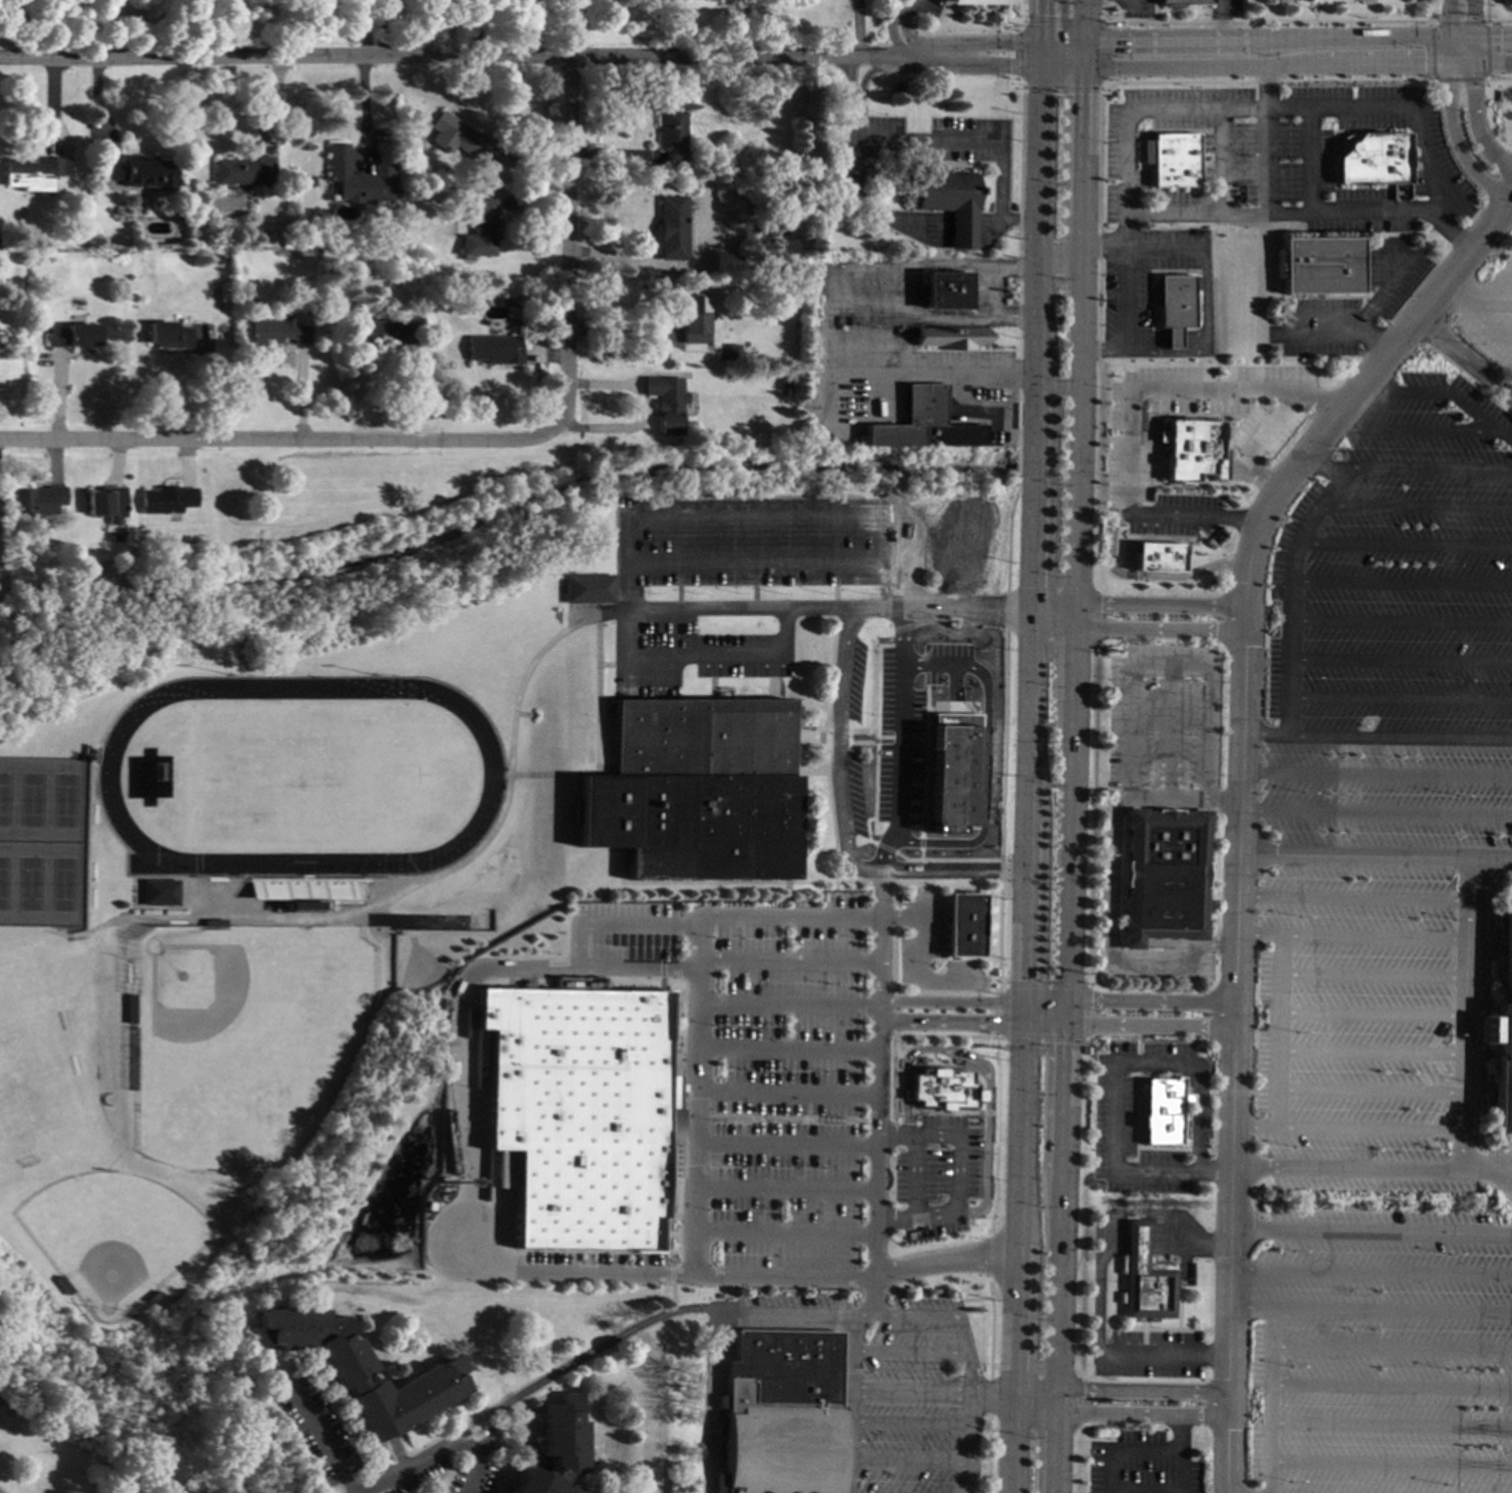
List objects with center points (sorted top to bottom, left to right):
building: (1317, 0)
building: (975, 2)
building: (1183, 2)
parking lot: (928, 8)
road: (1450, 20)
road: (1039, 21)
road: (1083, 21)
road: (1221, 21)
road: (121, 23)
road: (896, 26)
road: (231, 27)
road: (364, 27)
road: (481, 27)
road: (1469, 30)
road: (1266, 41)
traffic signals: (1450, 41)
road: (1480, 41)
traffic signals: (1039, 42)
road: (1061, 42)
traffic signals: (1469, 42)
road: (990, 43)
traffic signals: (1083, 43)
road: (1449, 51)
road: (1039, 54)
road: (471, 55)
road: (1082, 55)
road: (1459, 61)
traffic signals: (1469, 61)
road: (1490, 61)
traffic signals: (1449, 62)
road: (989, 65)
road: (1265, 65)
traffic signals: (1039, 67)
road: (1060, 67)
traffic signals: (1082, 68)
road: (1264, 76)
road: (855, 97)
road: (362, 111)
road: (1395, 111)
road: (854, 120)
road: (1473, 130)
building: (671, 134)
building: (457, 137)
road: (1455, 139)
road: (968, 142)
road: (1263, 150)
road: (1080, 158)
building: (1372, 159)
building: (1171, 160)
road: (1307, 162)
building: (243, 170)
building: (141, 171)
building: (32, 172)
building: (352, 177)
road: (1509, 189)
building: (948, 201)
road: (1346, 213)
road: (866, 215)
road: (569, 226)
road: (960, 226)
road: (1004, 226)
building: (672, 227)
building: (478, 228)
road: (1447, 229)
building: (285, 243)
road: (1100, 247)
road: (1056, 248)
road: (1161, 248)
building: (217, 258)
road: (1401, 264)
building: (1318, 265)
road: (892, 270)
building: (456, 280)
road: (1497, 280)
building: (941, 290)
road: (1122, 295)
road: (995, 297)
road: (1468, 297)
road: (1510, 299)
building: (1170, 307)
building: (694, 318)
road: (1481, 320)
road: (925, 324)
road: (1316, 325)
building: (271, 332)
road: (1201, 332)
building: (388, 333)
building: (167, 334)
building: (74, 335)
road: (621, 335)
building: (950, 337)
road: (1367, 338)
road: (879, 347)
building: (493, 348)
road: (1099, 349)
building: (731, 353)
road: (1459, 359)
road: (853, 378)
road: (967, 378)
building: (784, 382)
road: (1128, 387)
road: (1397, 391)
building: (665, 401)
road: (1317, 401)
road: (1475, 418)
building: (921, 423)
road: (1075, 425)
road: (1409, 430)
road: (266, 440)
building: (1186, 451)
road: (1326, 460)
road: (1426, 473)
road: (1258, 480)
building: (35, 499)
building: (164, 499)
building: (103, 503)
road: (1414, 507)
road: (633, 518)
building: (111, 537)
parking lot: (755, 540)
road: (1404, 544)
building: (1152, 558)
road: (758, 562)
road: (1143, 576)
road: (1400, 582)
building: (584, 591)
road: (1288, 596)
road: (1158, 605)
road: (731, 611)
road: (961, 611)
road: (1400, 623)
road: (1111, 626)
road: (1071, 652)
parking lot: (702, 656)
parking lot: (943, 660)
road: (1399, 660)
road: (1184, 665)
parking lot: (853, 678)
road: (951, 682)
road: (1399, 699)
road: (926, 709)
road: (1122, 710)
road: (974, 714)
road: (1375, 737)
parking lot: (895, 743)
road: (897, 743)
road: (832, 753)
road: (982, 756)
parking lot: (1382, 757)
road: (923, 761)
building: (950, 772)
road: (1376, 775)
track: (101, 776)
park: (294, 779)
road: (1026, 779)
building: (692, 792)
parking lot: (855, 797)
road: (1239, 799)
road: (1375, 811)
road: (871, 818)
road: (482, 840)
park: (39, 844)
road: (1068, 851)
road: (1356, 854)
road: (917, 860)
road: (1112, 865)
road: (999, 871)
road: (952, 872)
building: (1162, 875)
building: (153, 896)
road: (1355, 898)
building: (299, 908)
road: (785, 917)
road: (898, 919)
building: (963, 925)
road: (615, 927)
road: (1353, 936)
road: (1214, 943)
road: (787, 960)
road: (635, 969)
road: (916, 972)
road: (1375, 976)
traffic signals: (1022, 980)
road: (1469, 994)
traffic signals: (1089, 1001)
road: (1150, 1001)
road: (971, 1002)
road: (786, 1007)
road: (1375, 1011)
road: (1065, 1012)
road: (970, 1023)
traffic signals: (991, 1023)
road: (1150, 1025)
road: (1280, 1031)
building: (1502, 1032)
park: (239, 1040)
traffic signals: (1065, 1043)
road: (785, 1049)
road: (1374, 1049)
road: (981, 1073)
park: (30, 1074)
road: (462, 1079)
parking lot: (760, 1088)
road: (876, 1091)
building: (940, 1091)
road: (1373, 1092)
road: (784, 1094)
road: (692, 1102)
road: (1063, 1102)
building: (1164, 1111)
building: (579, 1113)
road: (1198, 1118)
road: (1256, 1127)
road: (1372, 1129)
road: (1116, 1133)
road: (783, 1146)
road: (1375, 1168)
road: (1487, 1168)
parking lot: (937, 1173)
road: (955, 1176)
road: (913, 1177)
road: (782, 1191)
road: (1490, 1223)
road: (1371, 1232)
road: (782, 1235)
park: (106, 1236)
road: (1136, 1242)
road: (1189, 1243)
road: (944, 1261)
road: (1371, 1272)
road: (689, 1277)
building: (1145, 1278)
road: (1060, 1285)
road: (1100, 1288)
road: (671, 1295)
parking lot: (794, 1302)
road: (1370, 1307)
road: (786, 1309)
road: (862, 1311)
road: (935, 1312)
road: (1391, 1348)
road: (908, 1352)
road: (1164, 1353)
parking lot: (1377, 1353)
road: (586, 1356)
building: (357, 1369)
road: (1390, 1386)
road: (1035, 1388)
road: (1002, 1391)
road: (1143, 1391)
road: (921, 1393)
road: (1058, 1399)
road: (1268, 1399)
road: (719, 1400)
road: (849, 1402)
road: (1002, 1402)
road: (1035, 1409)
road: (1142, 1412)
building: (784, 1413)
road: (974, 1422)
road: (911, 1423)
road: (1390, 1424)
park: (55, 1427)
road: (1182, 1432)
road: (318, 1440)
building: (558, 1449)
road: (1057, 1451)
road: (475, 1461)
road: (411, 1463)
road: (911, 1463)
road: (1389, 1464)
road: (1108, 1470)
road: (1181, 1472)
road: (1108, 1491)

